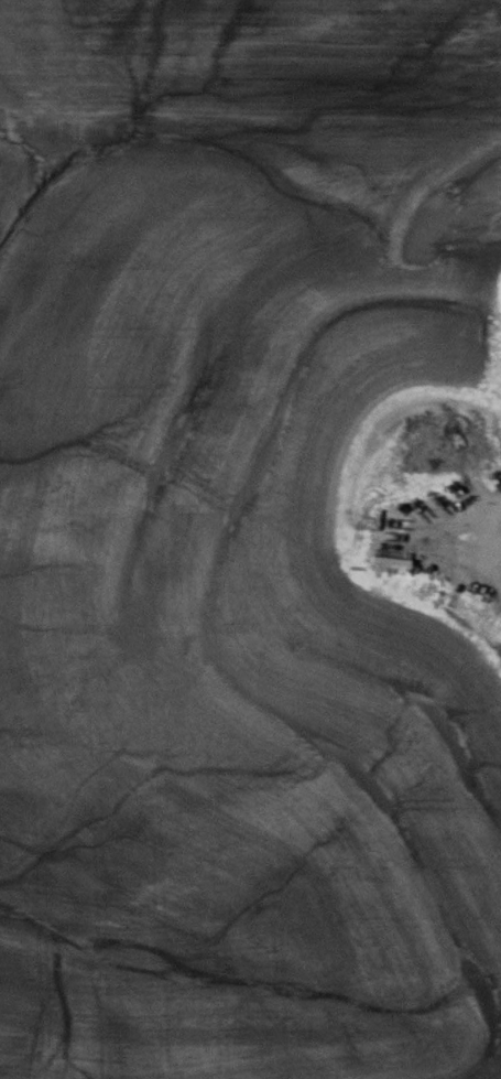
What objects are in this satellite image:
crop: (251, 55)
crop: (239, 643)

